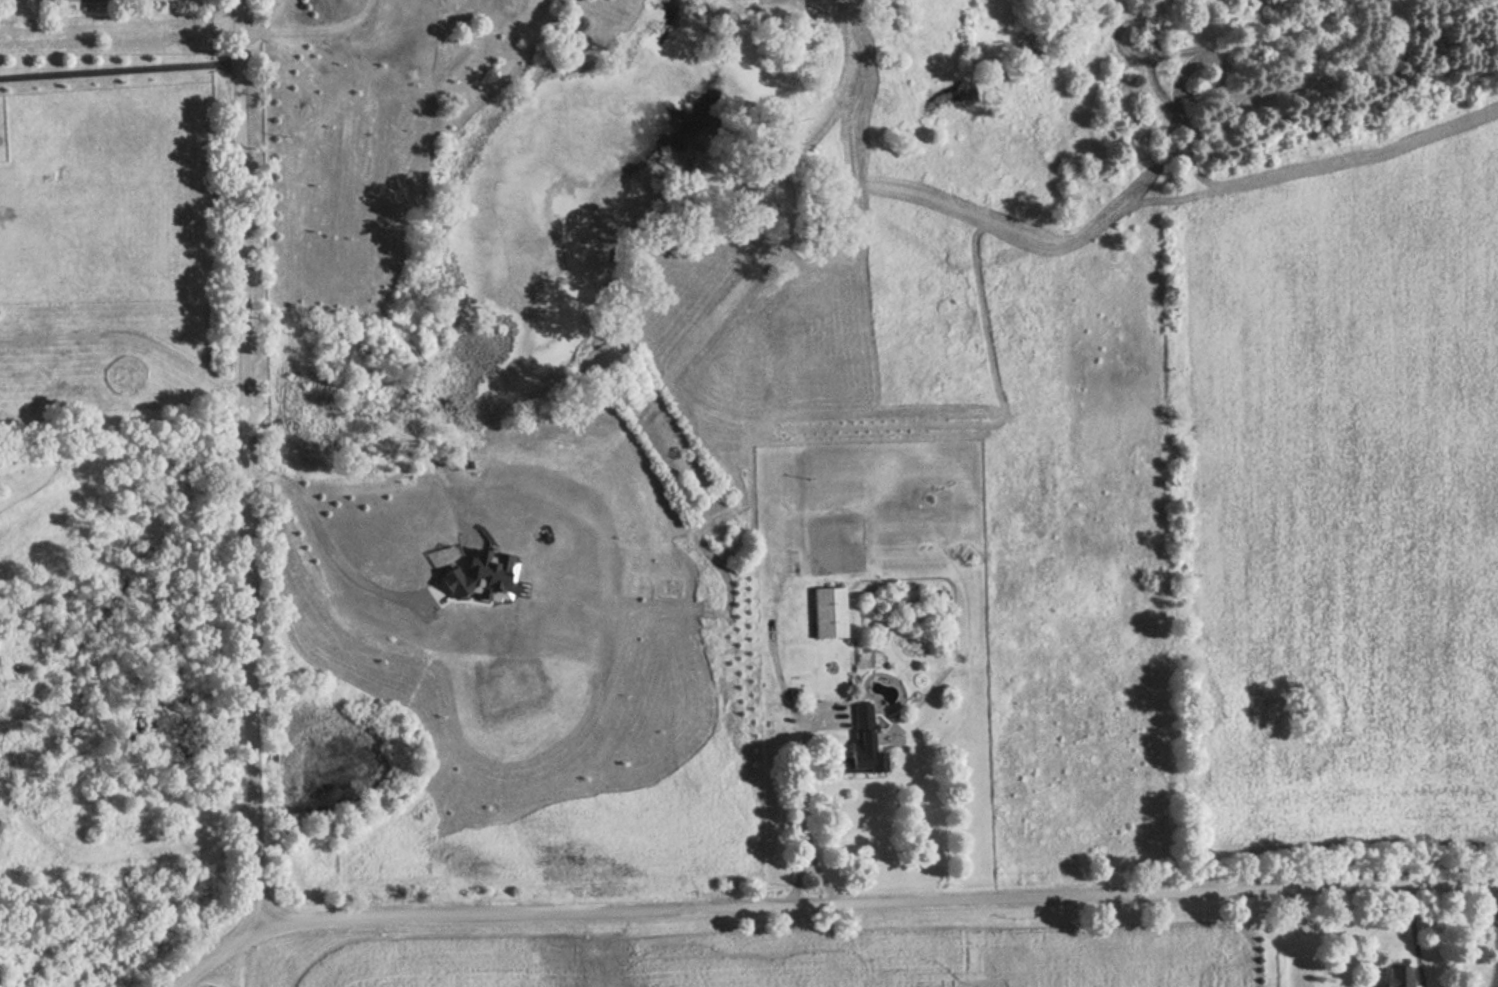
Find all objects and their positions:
road: (311, 32)
road: (117, 70)
road: (127, 337)
road: (243, 465)
road: (325, 537)
building: (828, 612)
building: (859, 743)
road: (801, 796)
road: (828, 900)
road: (1495, 934)
road: (1413, 935)
road: (237, 964)
building: (1393, 974)
road: (1496, 983)

